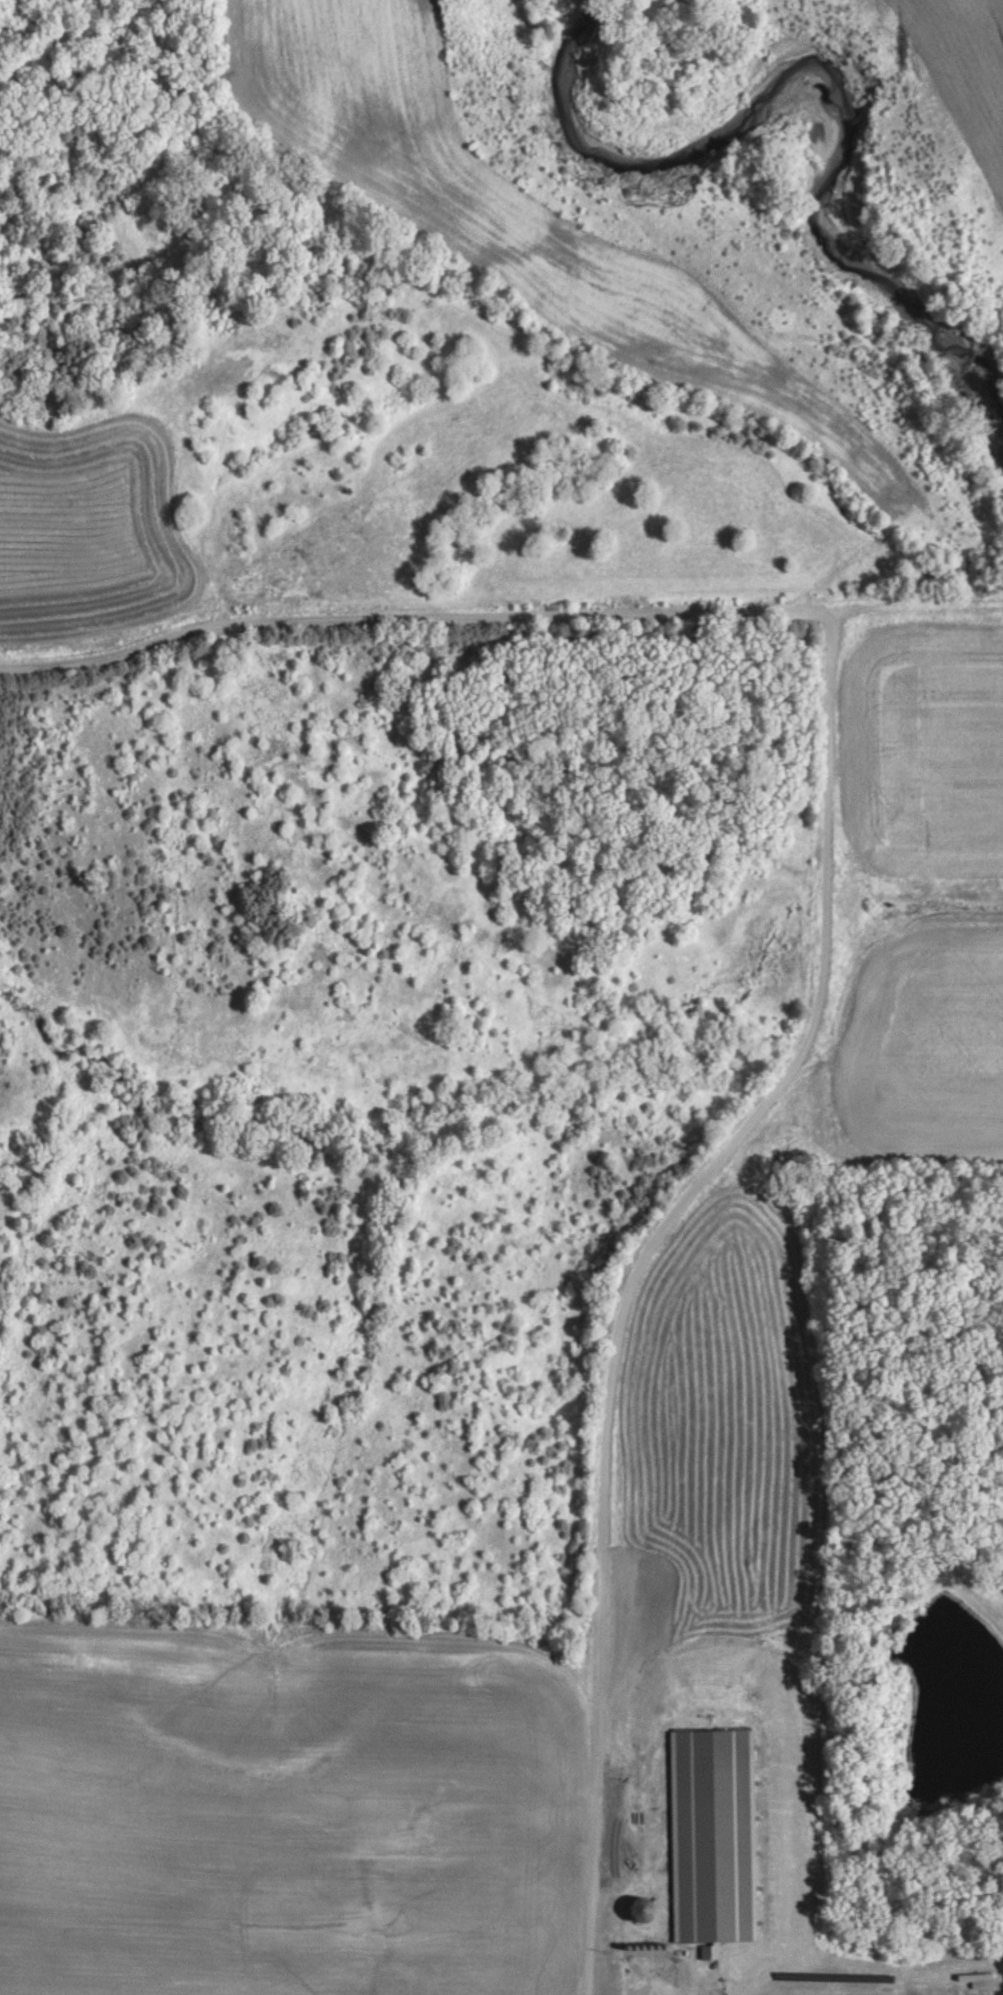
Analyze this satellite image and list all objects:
road: (498, 613)
road: (631, 1271)
building: (714, 1838)
building: (644, 1911)

